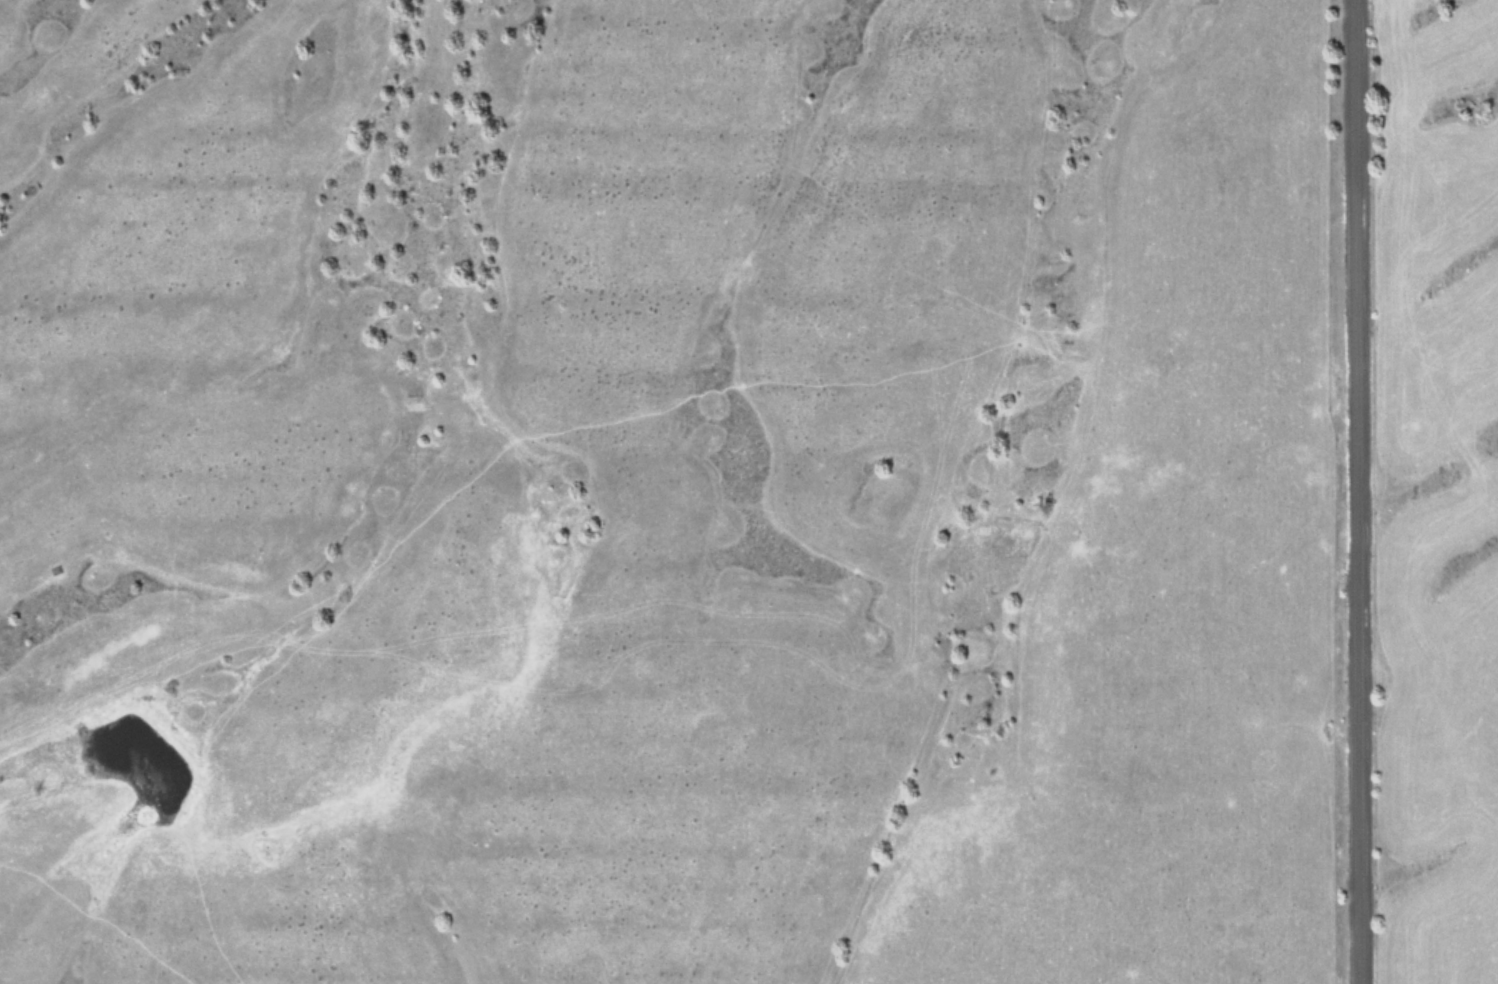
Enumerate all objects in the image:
road: (1365, 492)

